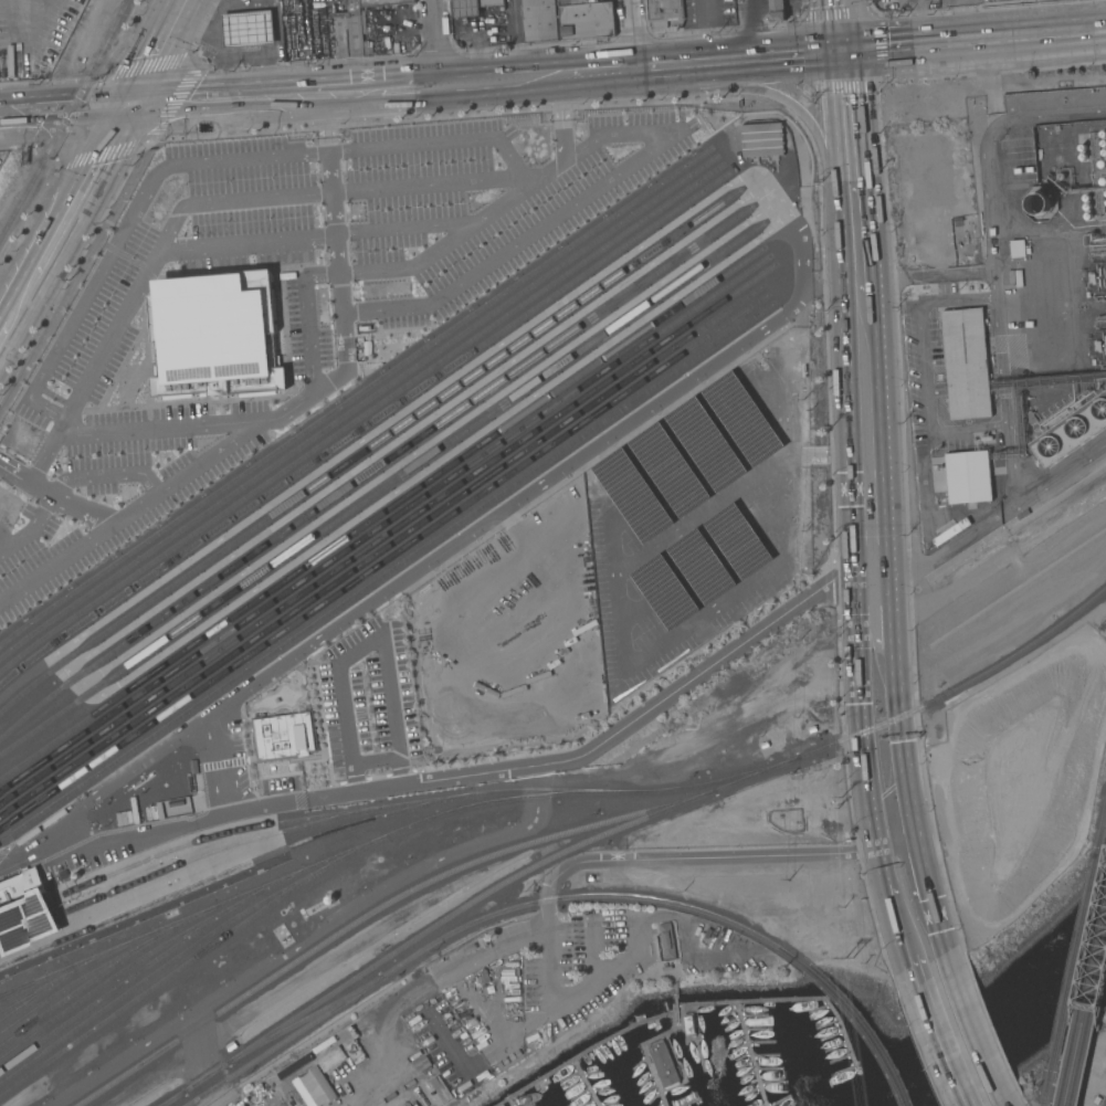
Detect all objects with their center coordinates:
building: (383, 2)
building: (472, 7)
building: (777, 10)
building: (664, 12)
building: (586, 19)
building: (540, 20)
road: (192, 24)
road: (842, 25)
building: (249, 29)
road: (749, 30)
road: (706, 31)
building: (349, 32)
road: (633, 33)
road: (515, 39)
road: (436, 41)
road: (976, 41)
building: (368, 46)
traffic signals: (845, 52)
road: (152, 53)
road: (234, 54)
road: (741, 60)
road: (598, 71)
road: (538, 75)
road: (224, 77)
road: (322, 92)
traffic signals: (125, 106)
road: (62, 108)
road: (799, 108)
railway: (65, 115)
road: (560, 117)
road: (325, 122)
building: (1103, 134)
building: (761, 139)
road: (438, 141)
building: (1103, 143)
building: (1082, 147)
building: (1104, 152)
building: (1083, 157)
road: (852, 158)
building: (1105, 164)
road: (329, 171)
building: (1060, 176)
road: (429, 186)
building: (1105, 193)
building: (1086, 198)
building: (1039, 203)
building: (1087, 207)
building: (1088, 215)
road: (551, 219)
road: (63, 220)
road: (405, 227)
road: (334, 232)
road: (457, 235)
road: (245, 243)
road: (158, 246)
building: (1018, 249)
road: (105, 257)
road: (928, 274)
building: (1094, 277)
parking lot: (297, 283)
road: (338, 294)
building: (217, 335)
road: (309, 343)
building: (1097, 345)
road: (1003, 355)
building: (966, 364)
railway: (355, 393)
railway: (358, 403)
railway: (360, 414)
building: (741, 419)
railway: (364, 425)
road: (164, 426)
building: (1072, 431)
road: (868, 435)
building: (706, 444)
railway: (366, 447)
road: (213, 455)
railway: (372, 468)
building: (668, 470)
building: (968, 476)
road: (77, 477)
railway: (380, 487)
building: (632, 496)
road: (81, 509)
railway: (380, 513)
parking lot: (688, 522)
railway: (383, 523)
road: (32, 528)
railway: (387, 533)
building: (737, 541)
road: (77, 547)
railway: (380, 550)
railway: (382, 560)
building: (701, 567)
railway: (386, 571)
building: (664, 592)
road: (876, 629)
road: (362, 645)
building: (285, 736)
road: (376, 761)
road: (471, 775)
railway: (418, 800)
road: (894, 805)
railway: (621, 825)
railway: (1103, 833)
railway: (213, 850)
road: (655, 859)
railway: (231, 870)
railway: (296, 872)
railway: (593, 895)
railway: (376, 908)
railway: (24, 909)
building: (25, 912)
railway: (28, 926)
building: (667, 940)
railway: (187, 948)
railway: (145, 954)
railway: (1075, 960)
railway: (105, 963)
railway: (64, 973)
railway: (162, 978)
railway: (119, 982)
road: (421, 986)
railway: (22, 987)
railway: (76, 988)
railway: (34, 993)
railway: (1084, 1004)
railway: (302, 1019)
building: (688, 1024)
building: (653, 1025)
railway: (867, 1031)
railway: (1089, 1031)
road: (952, 1034)
railway: (282, 1041)
building: (231, 1046)
building: (331, 1058)
building: (662, 1063)
building: (324, 1083)
railway: (1047, 1089)
railway: (171, 1098)
building: (1097, 1099)
building: (503, 1105)

